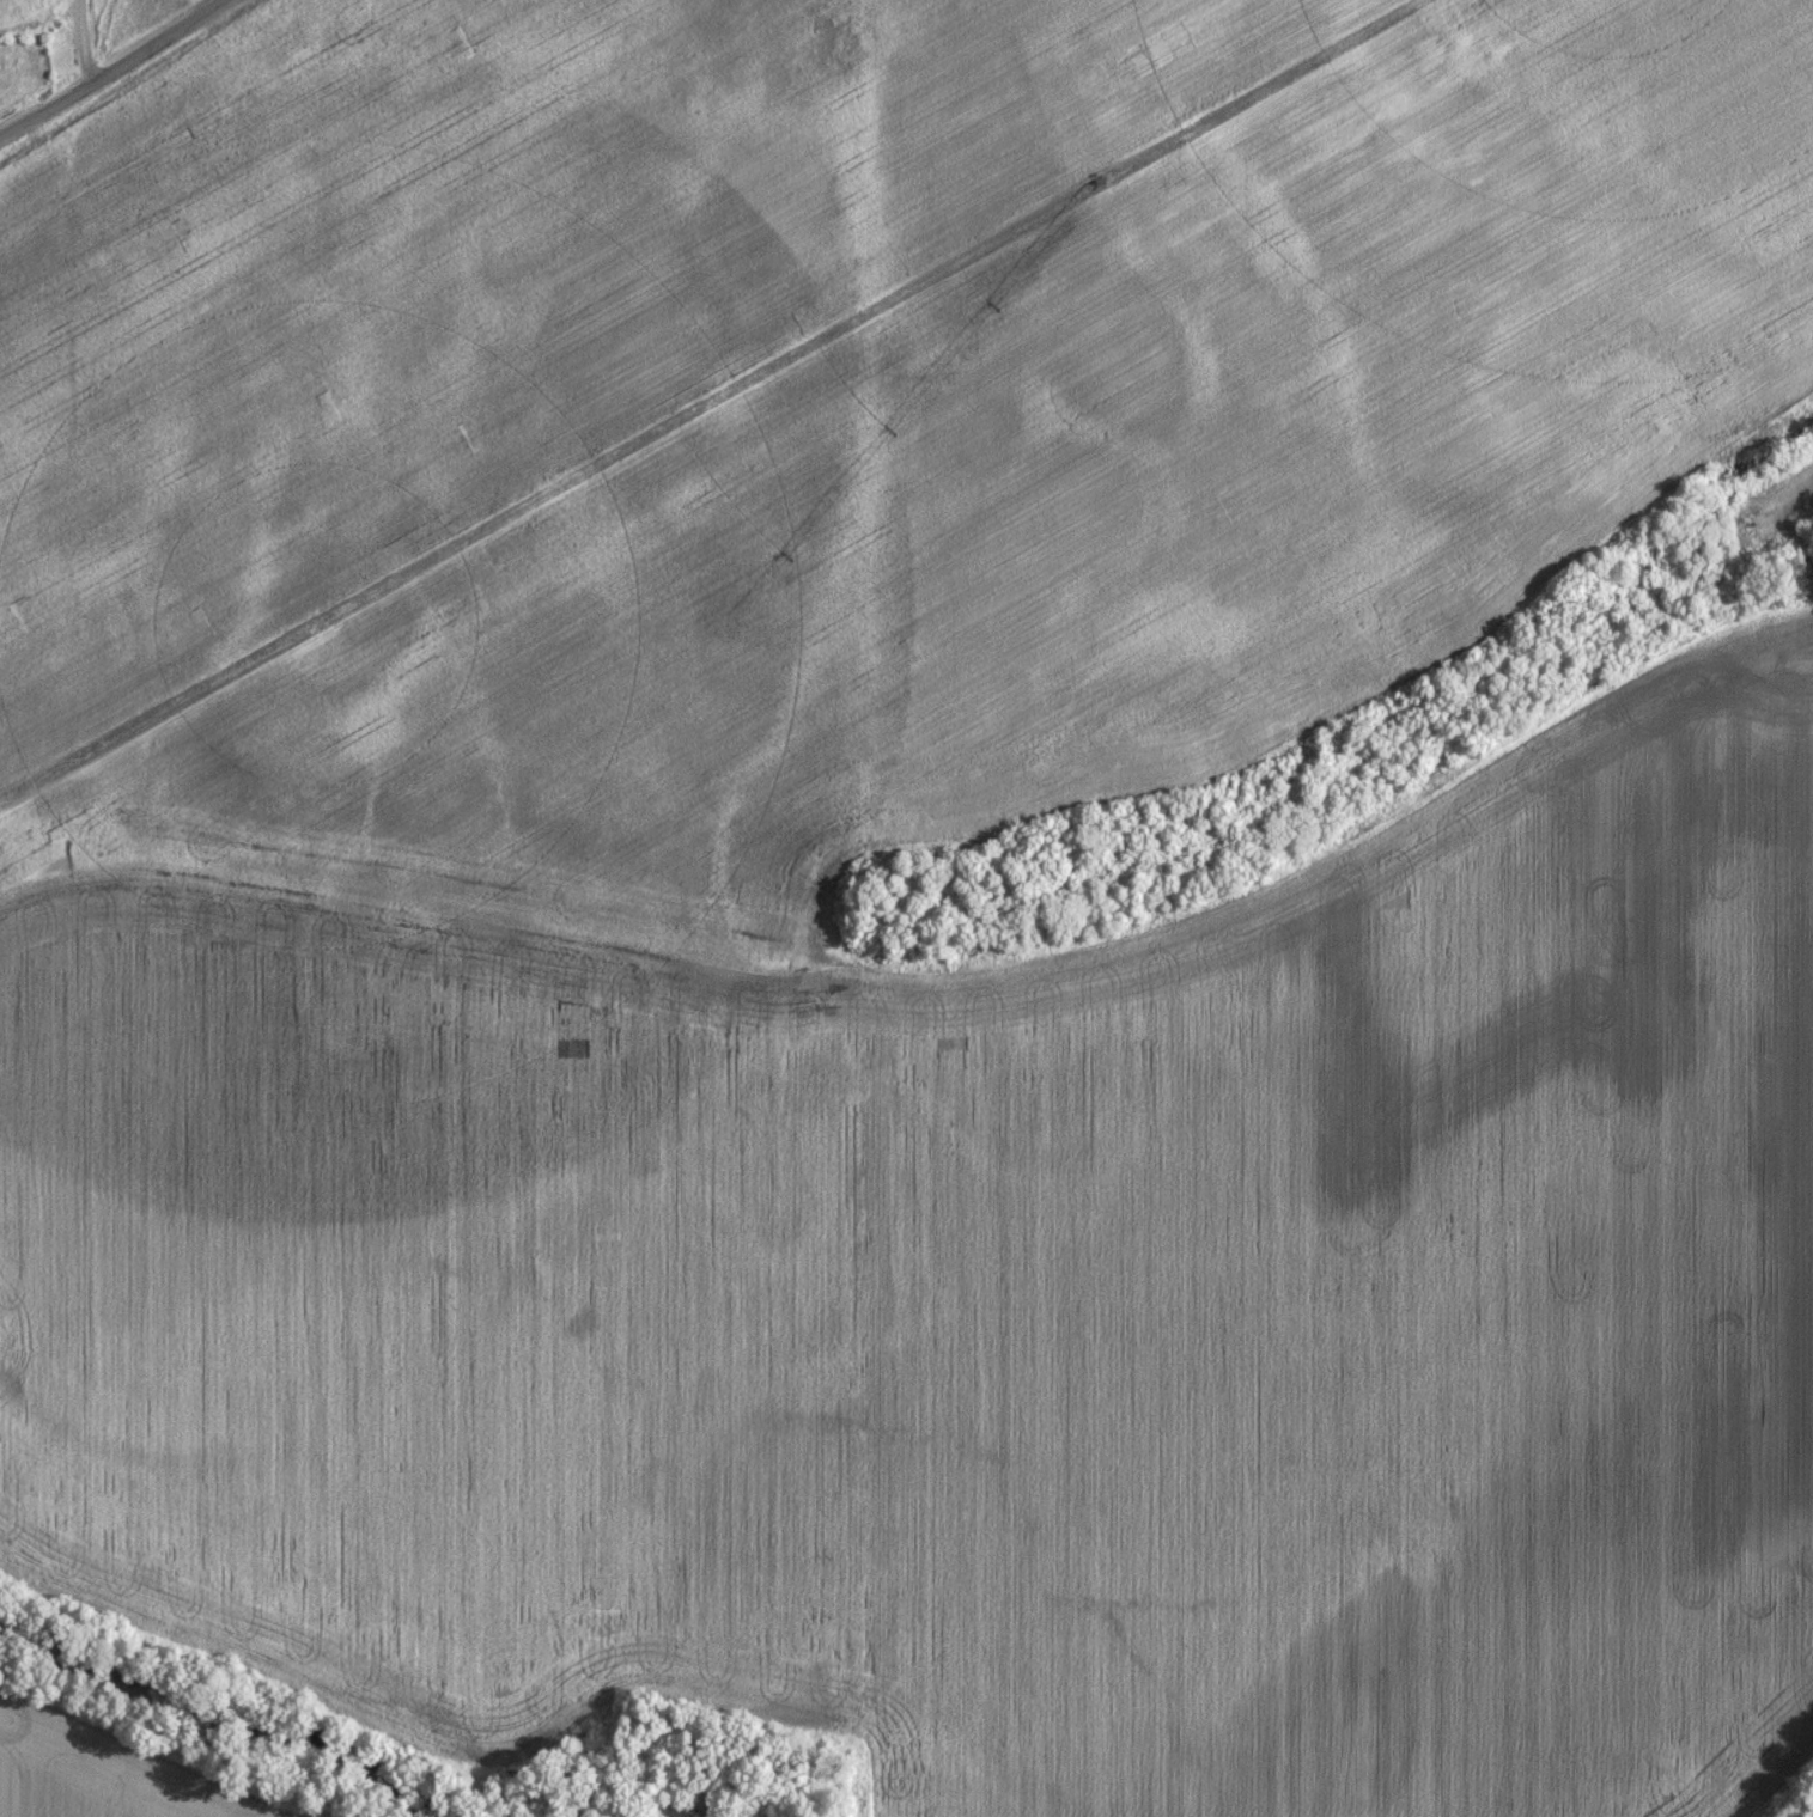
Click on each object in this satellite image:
road: (85, 39)
road: (108, 71)

